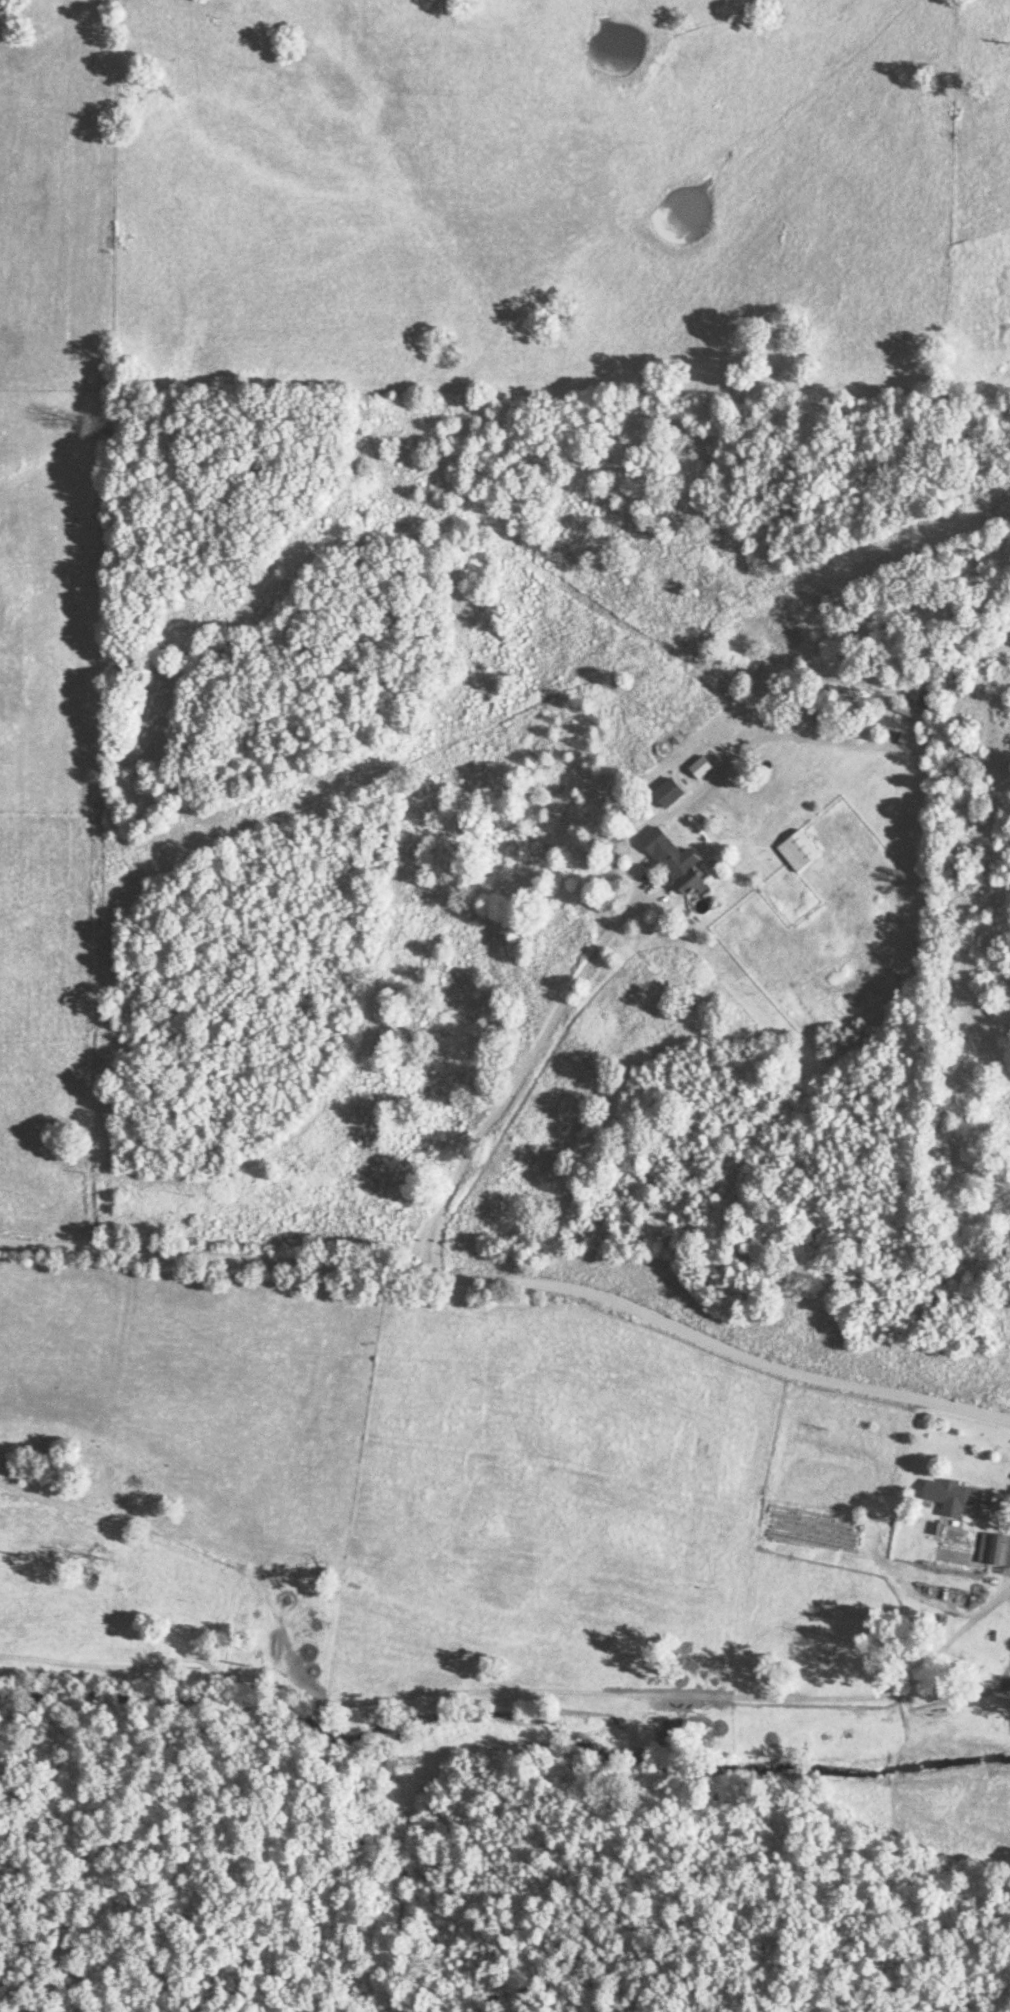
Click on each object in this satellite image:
building: (915, 711)
building: (697, 769)
building: (664, 794)
building: (795, 852)
building: (671, 863)
road: (523, 1072)
road: (514, 1283)
building: (949, 1495)
building: (993, 1552)

